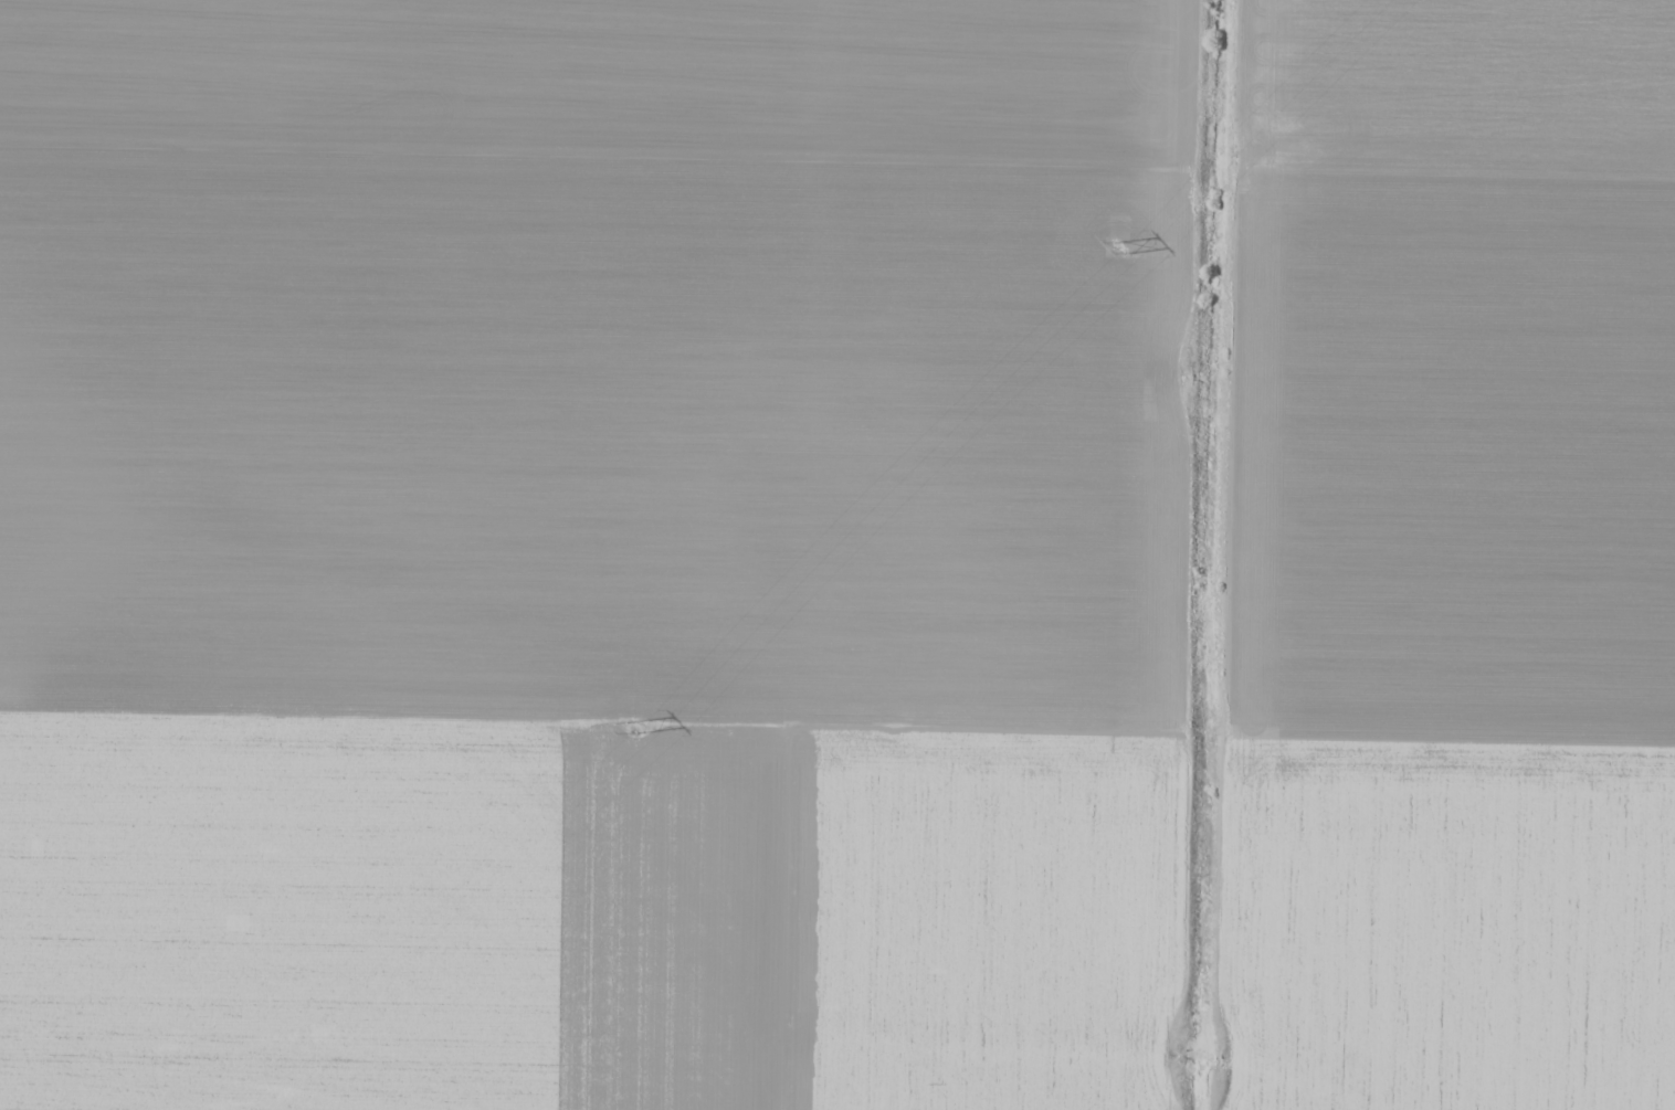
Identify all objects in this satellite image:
power tower: (1119, 247)
power tower: (635, 726)

